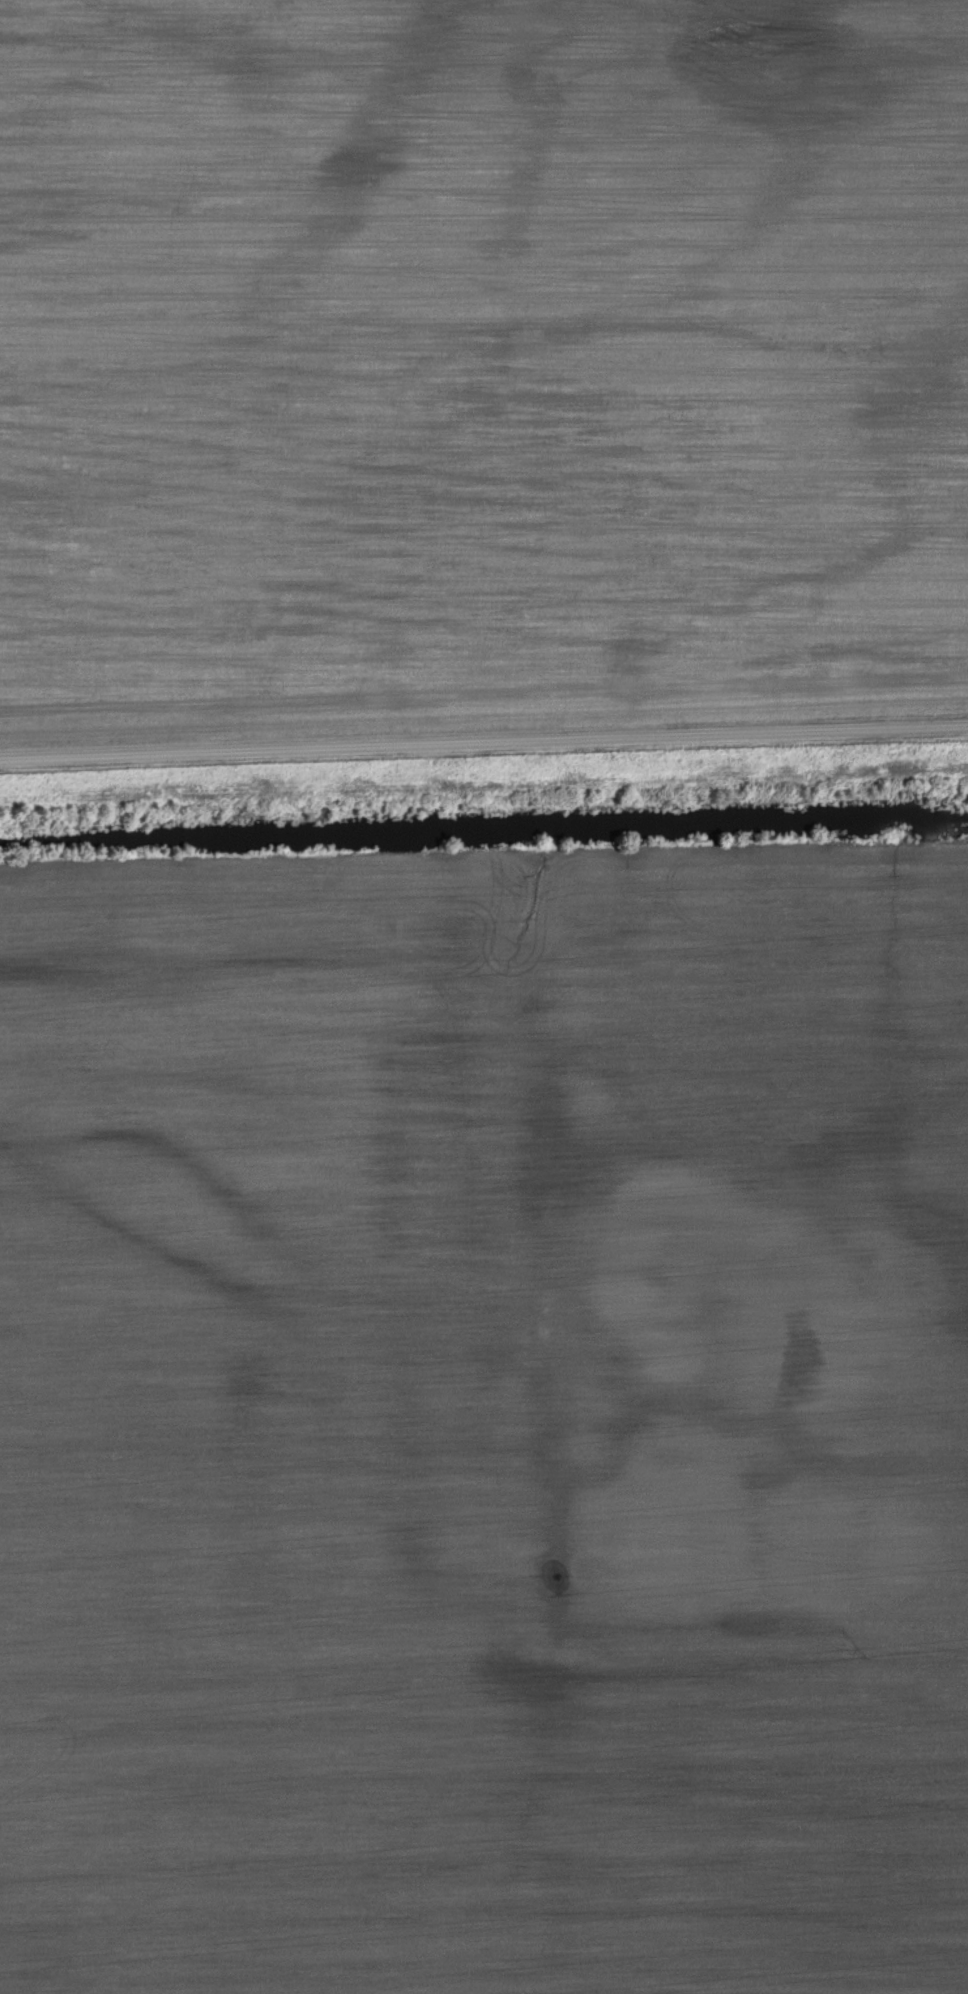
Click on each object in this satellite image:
crop: (480, 360)
road: (484, 738)
crop: (485, 1422)

